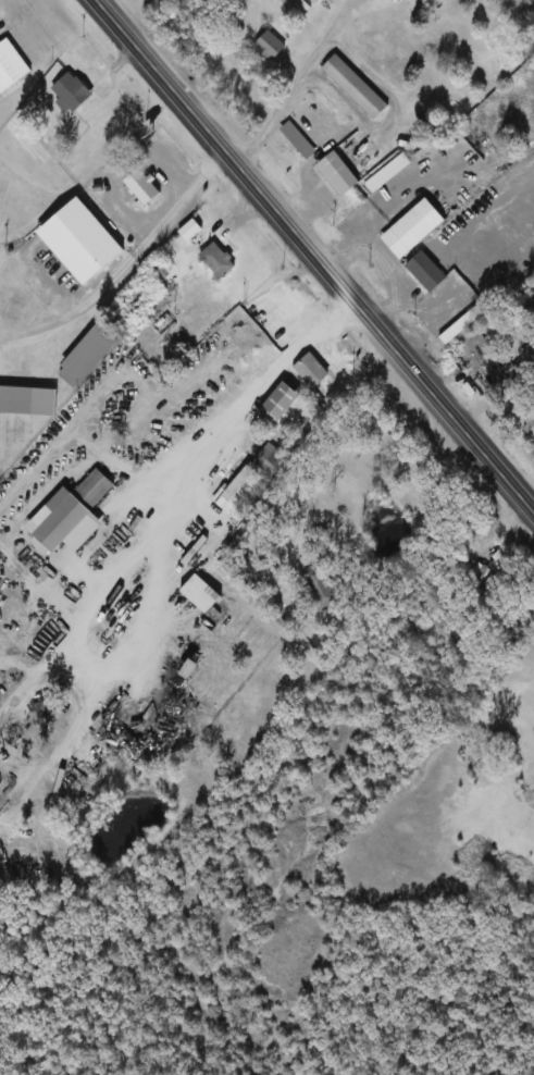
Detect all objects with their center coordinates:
building: (268, 46)
building: (10, 66)
road: (299, 84)
building: (353, 88)
building: (70, 94)
building: (297, 141)
building: (337, 173)
building: (386, 174)
building: (140, 188)
building: (410, 230)
building: (188, 232)
building: (94, 233)
road: (313, 254)
building: (216, 261)
road: (126, 265)
building: (423, 272)
building: (145, 313)
building: (265, 317)
building: (456, 329)
building: (85, 357)
building: (310, 371)
building: (27, 401)
building: (284, 411)
building: (529, 425)
building: (268, 457)
building: (237, 491)
building: (96, 493)
building: (60, 524)
road: (159, 564)
building: (474, 574)
building: (319, 588)
building: (197, 595)

